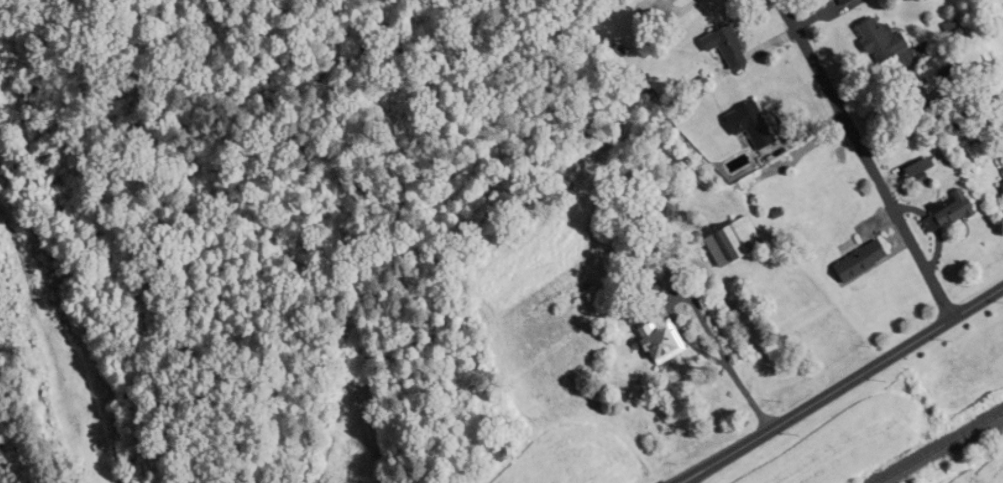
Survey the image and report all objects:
building: (850, 1)
building: (893, 40)
building: (737, 47)
building: (755, 120)
road: (862, 149)
building: (934, 170)
building: (959, 210)
building: (746, 242)
building: (869, 261)
building: (673, 342)
road: (842, 385)
road: (739, 386)
railway: (938, 446)

